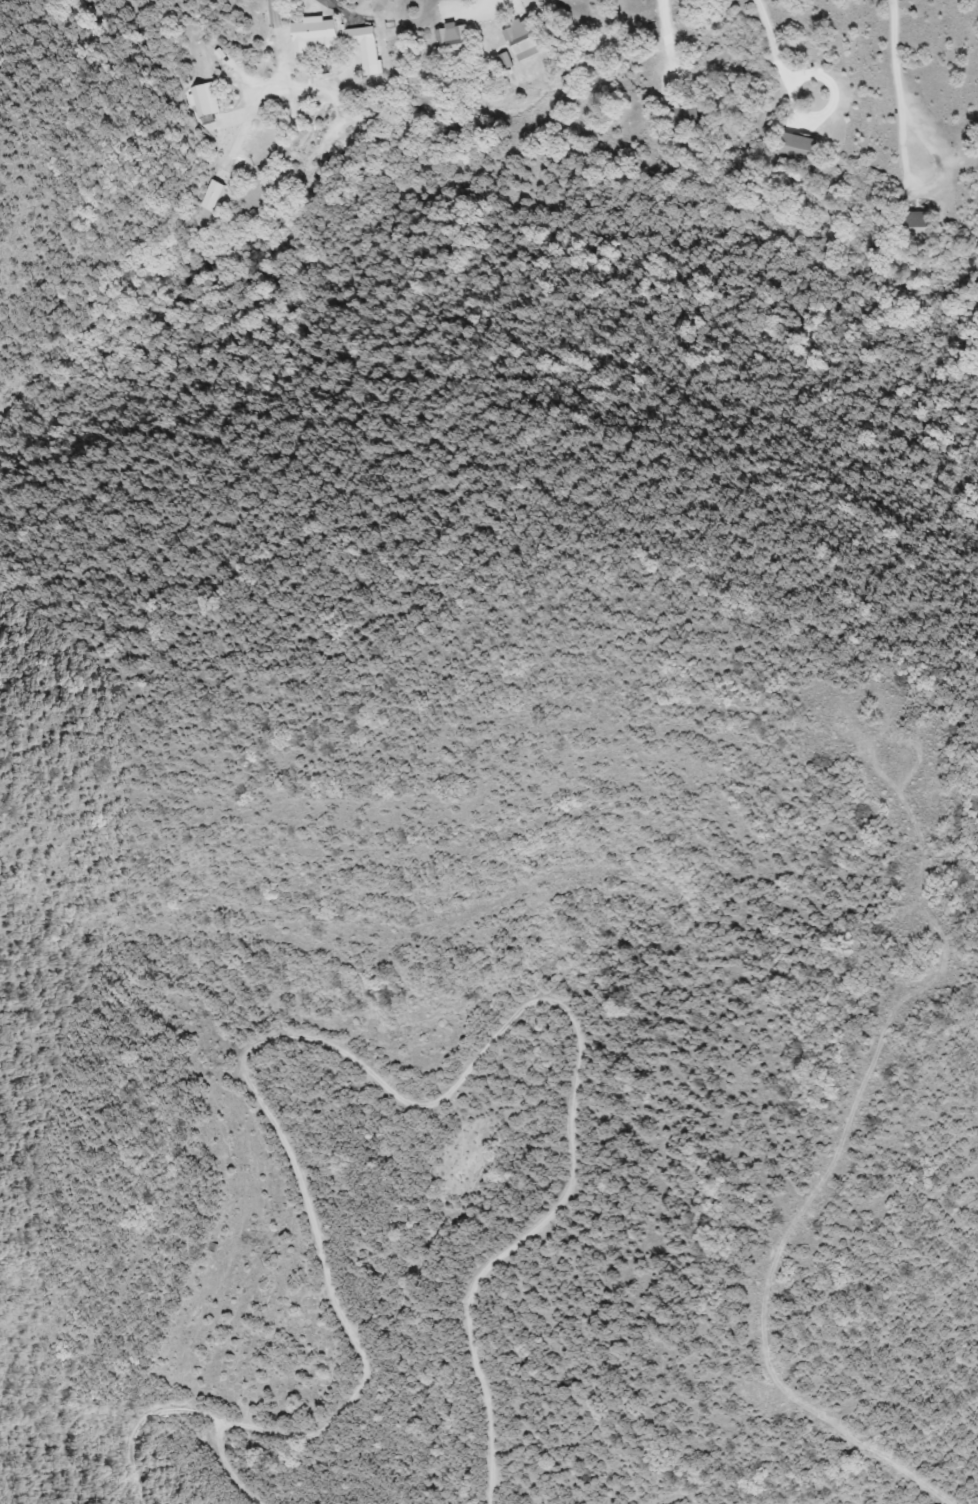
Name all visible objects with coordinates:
building: (330, 38)
building: (527, 43)
building: (457, 46)
road: (665, 46)
road: (777, 62)
road: (272, 89)
road: (897, 92)
building: (206, 101)
building: (800, 148)
building: (214, 196)
building: (920, 226)

